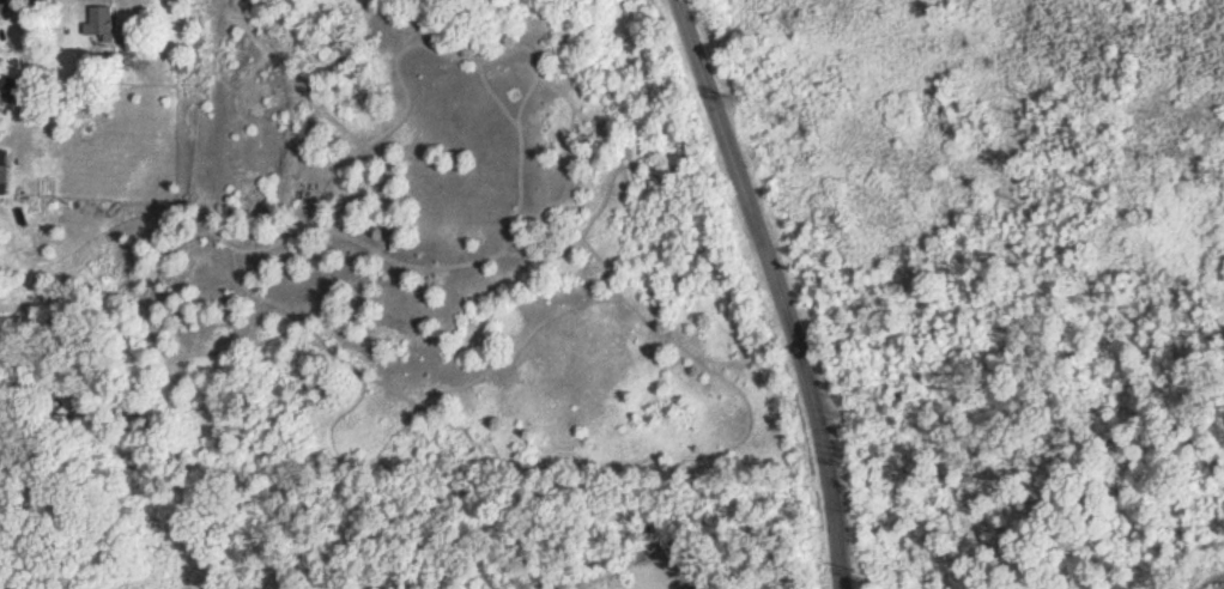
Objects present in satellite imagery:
building: (2, 6)
building: (102, 20)
building: (7, 89)
building: (6, 166)
road: (776, 291)

